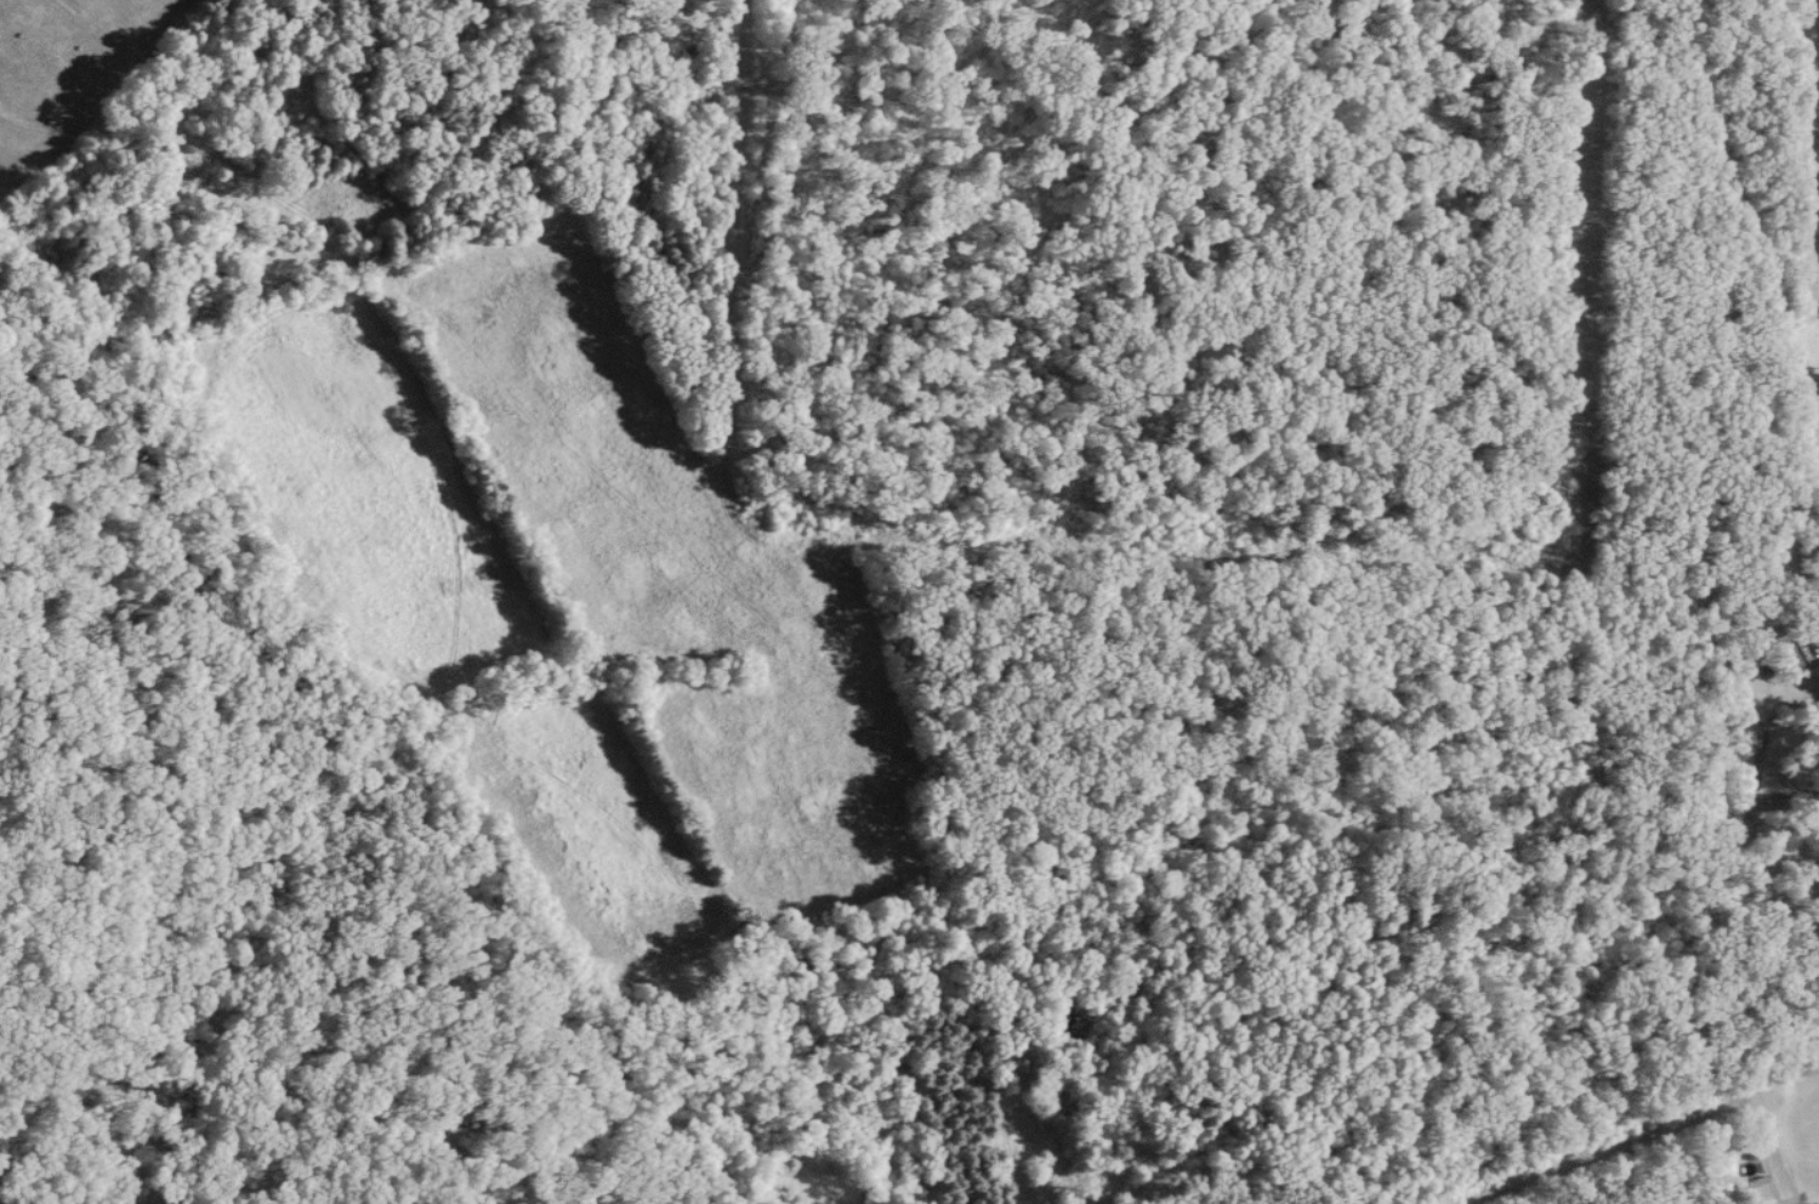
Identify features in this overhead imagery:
building: (1814, 678)

